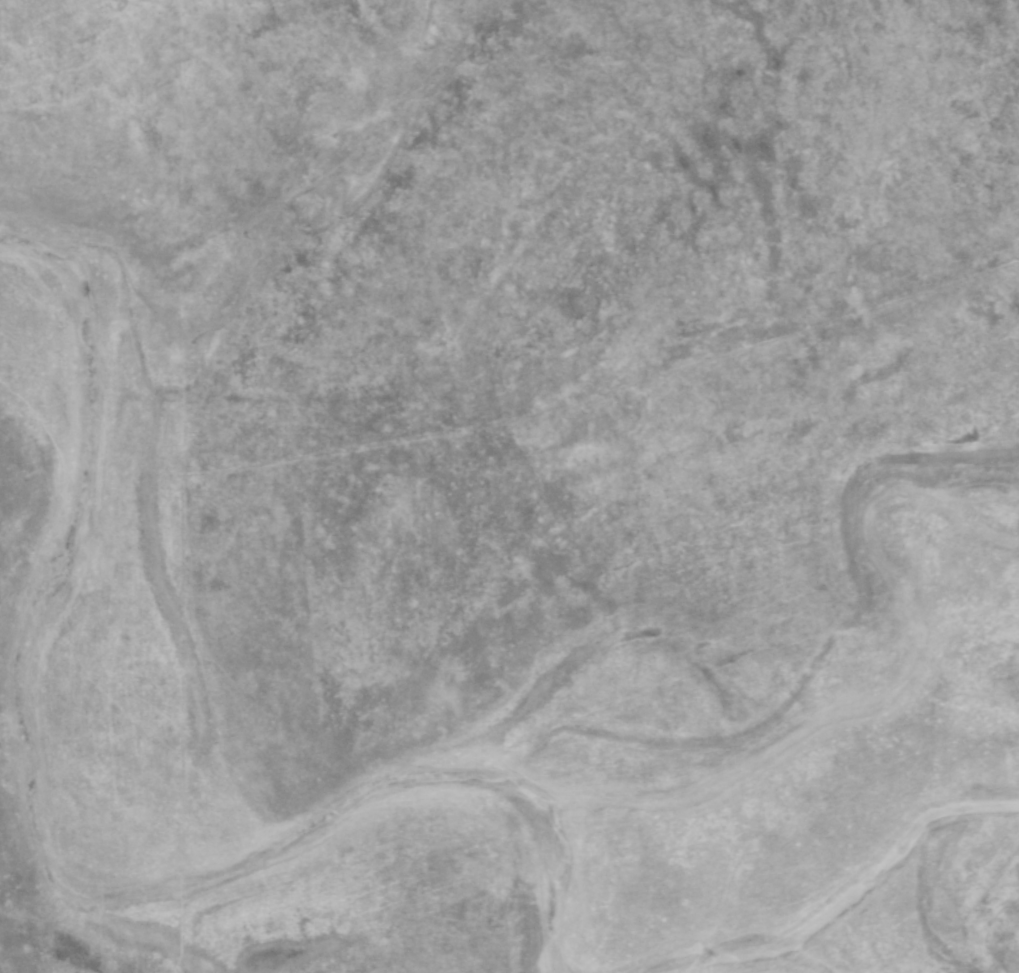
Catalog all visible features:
airport: (509, 486)

